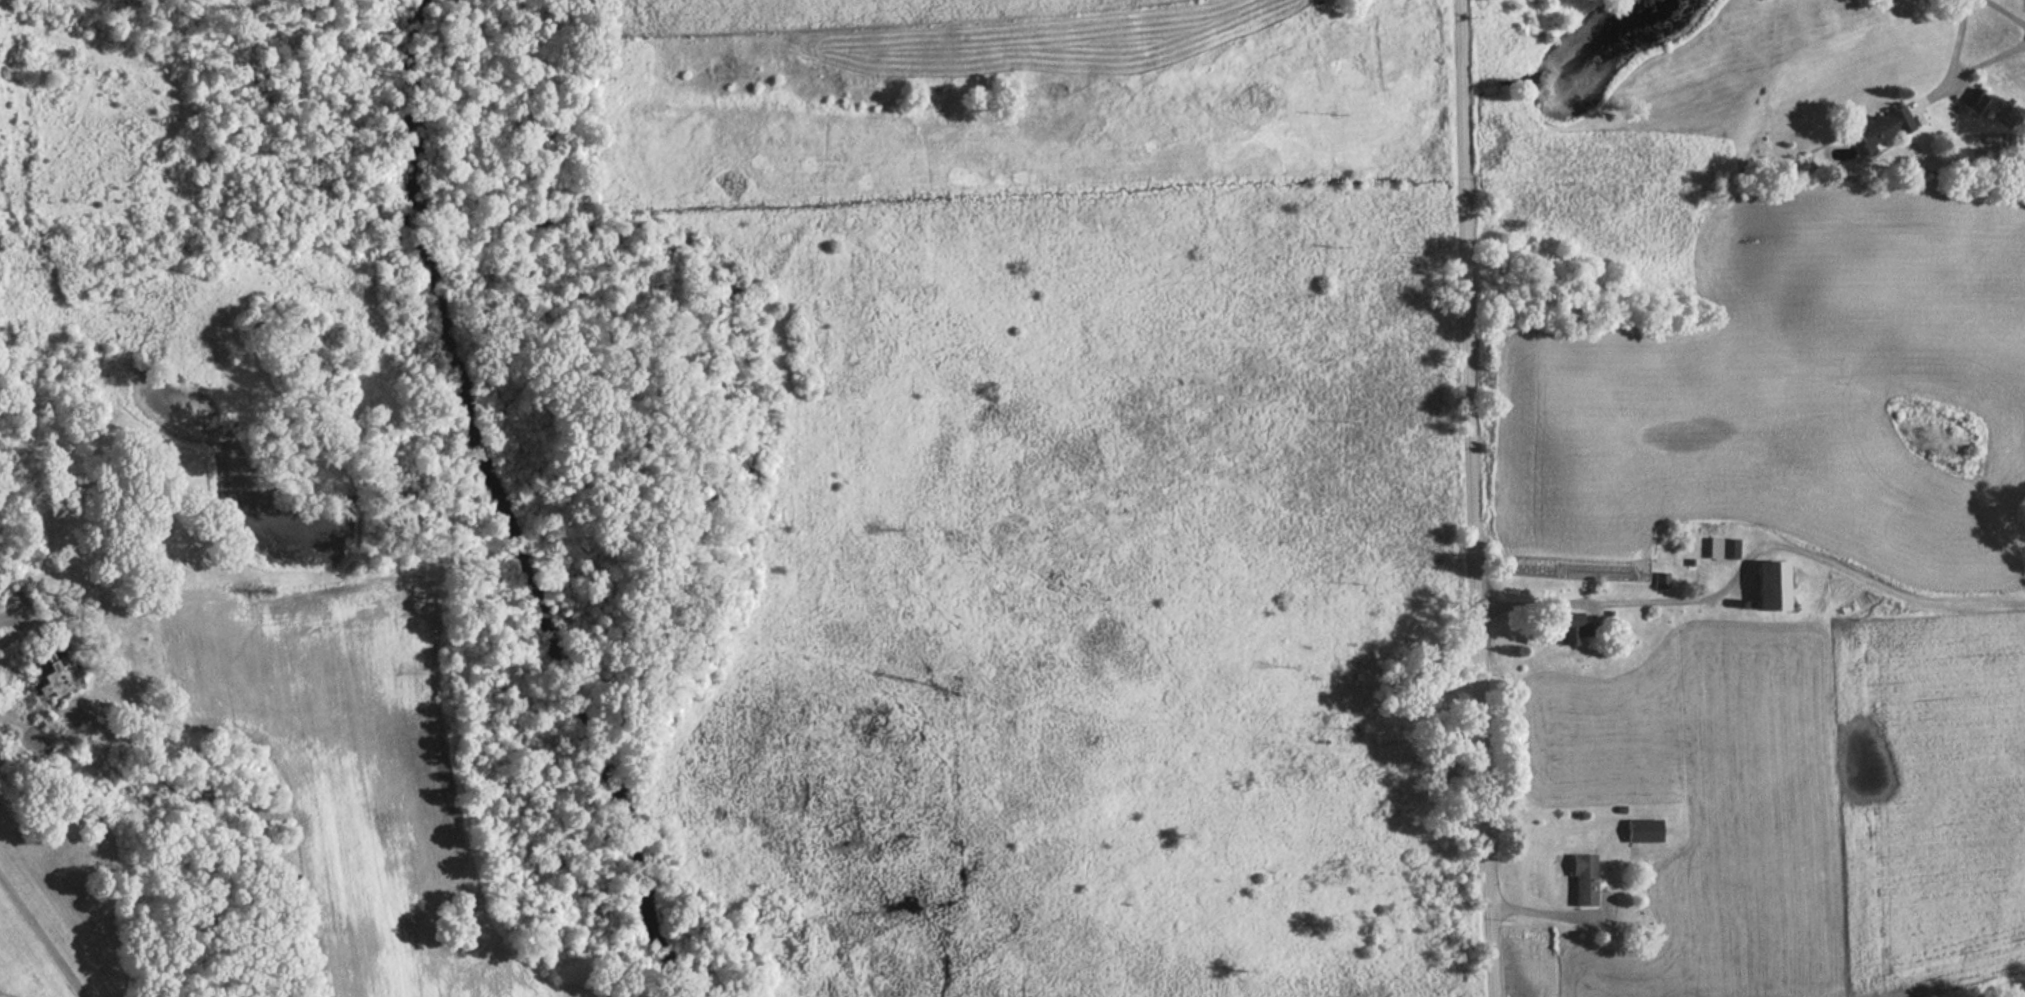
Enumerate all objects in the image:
crop: (829, 12)
road: (2006, 51)
building: (1971, 101)
building: (1879, 127)
crop: (1800, 388)
road: (1477, 498)
road: (544, 537)
road: (517, 547)
building: (1717, 549)
road: (478, 562)
building: (1658, 581)
building: (1759, 587)
road: (20, 618)
building: (1566, 628)
building: (64, 677)
crop: (1930, 787)
building: (1638, 830)
building: (1579, 880)
road: (42, 937)

